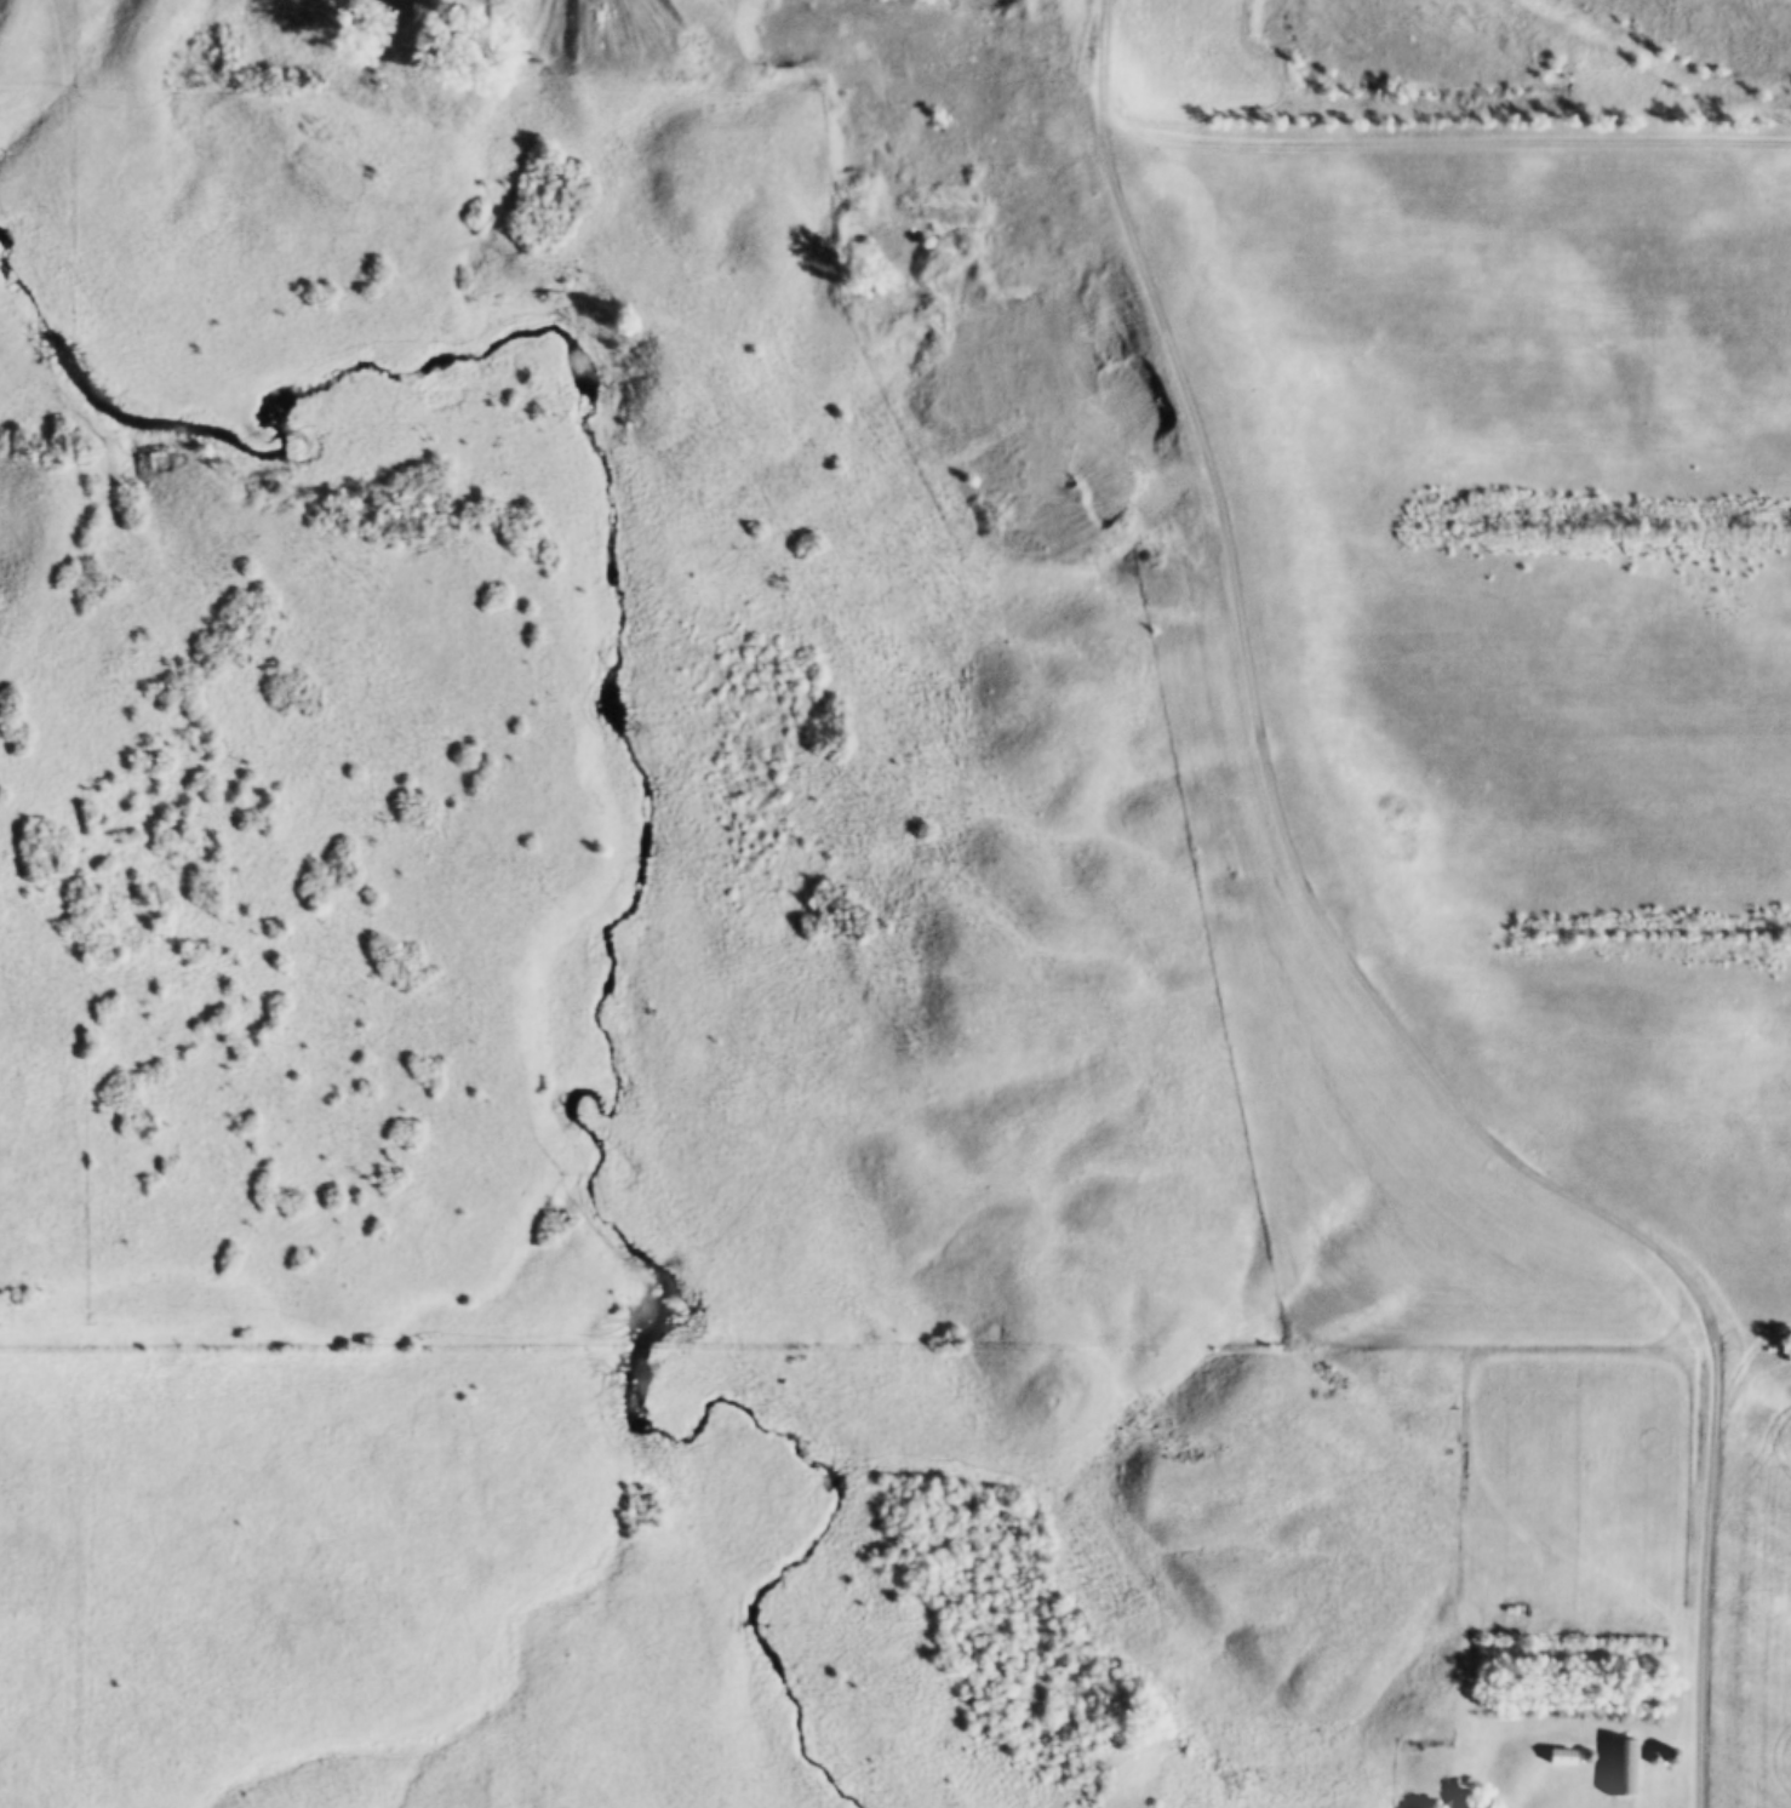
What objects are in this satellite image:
quarry: (1281, 25)
quarry: (845, 211)
road: (1350, 957)
building: (1627, 1768)

